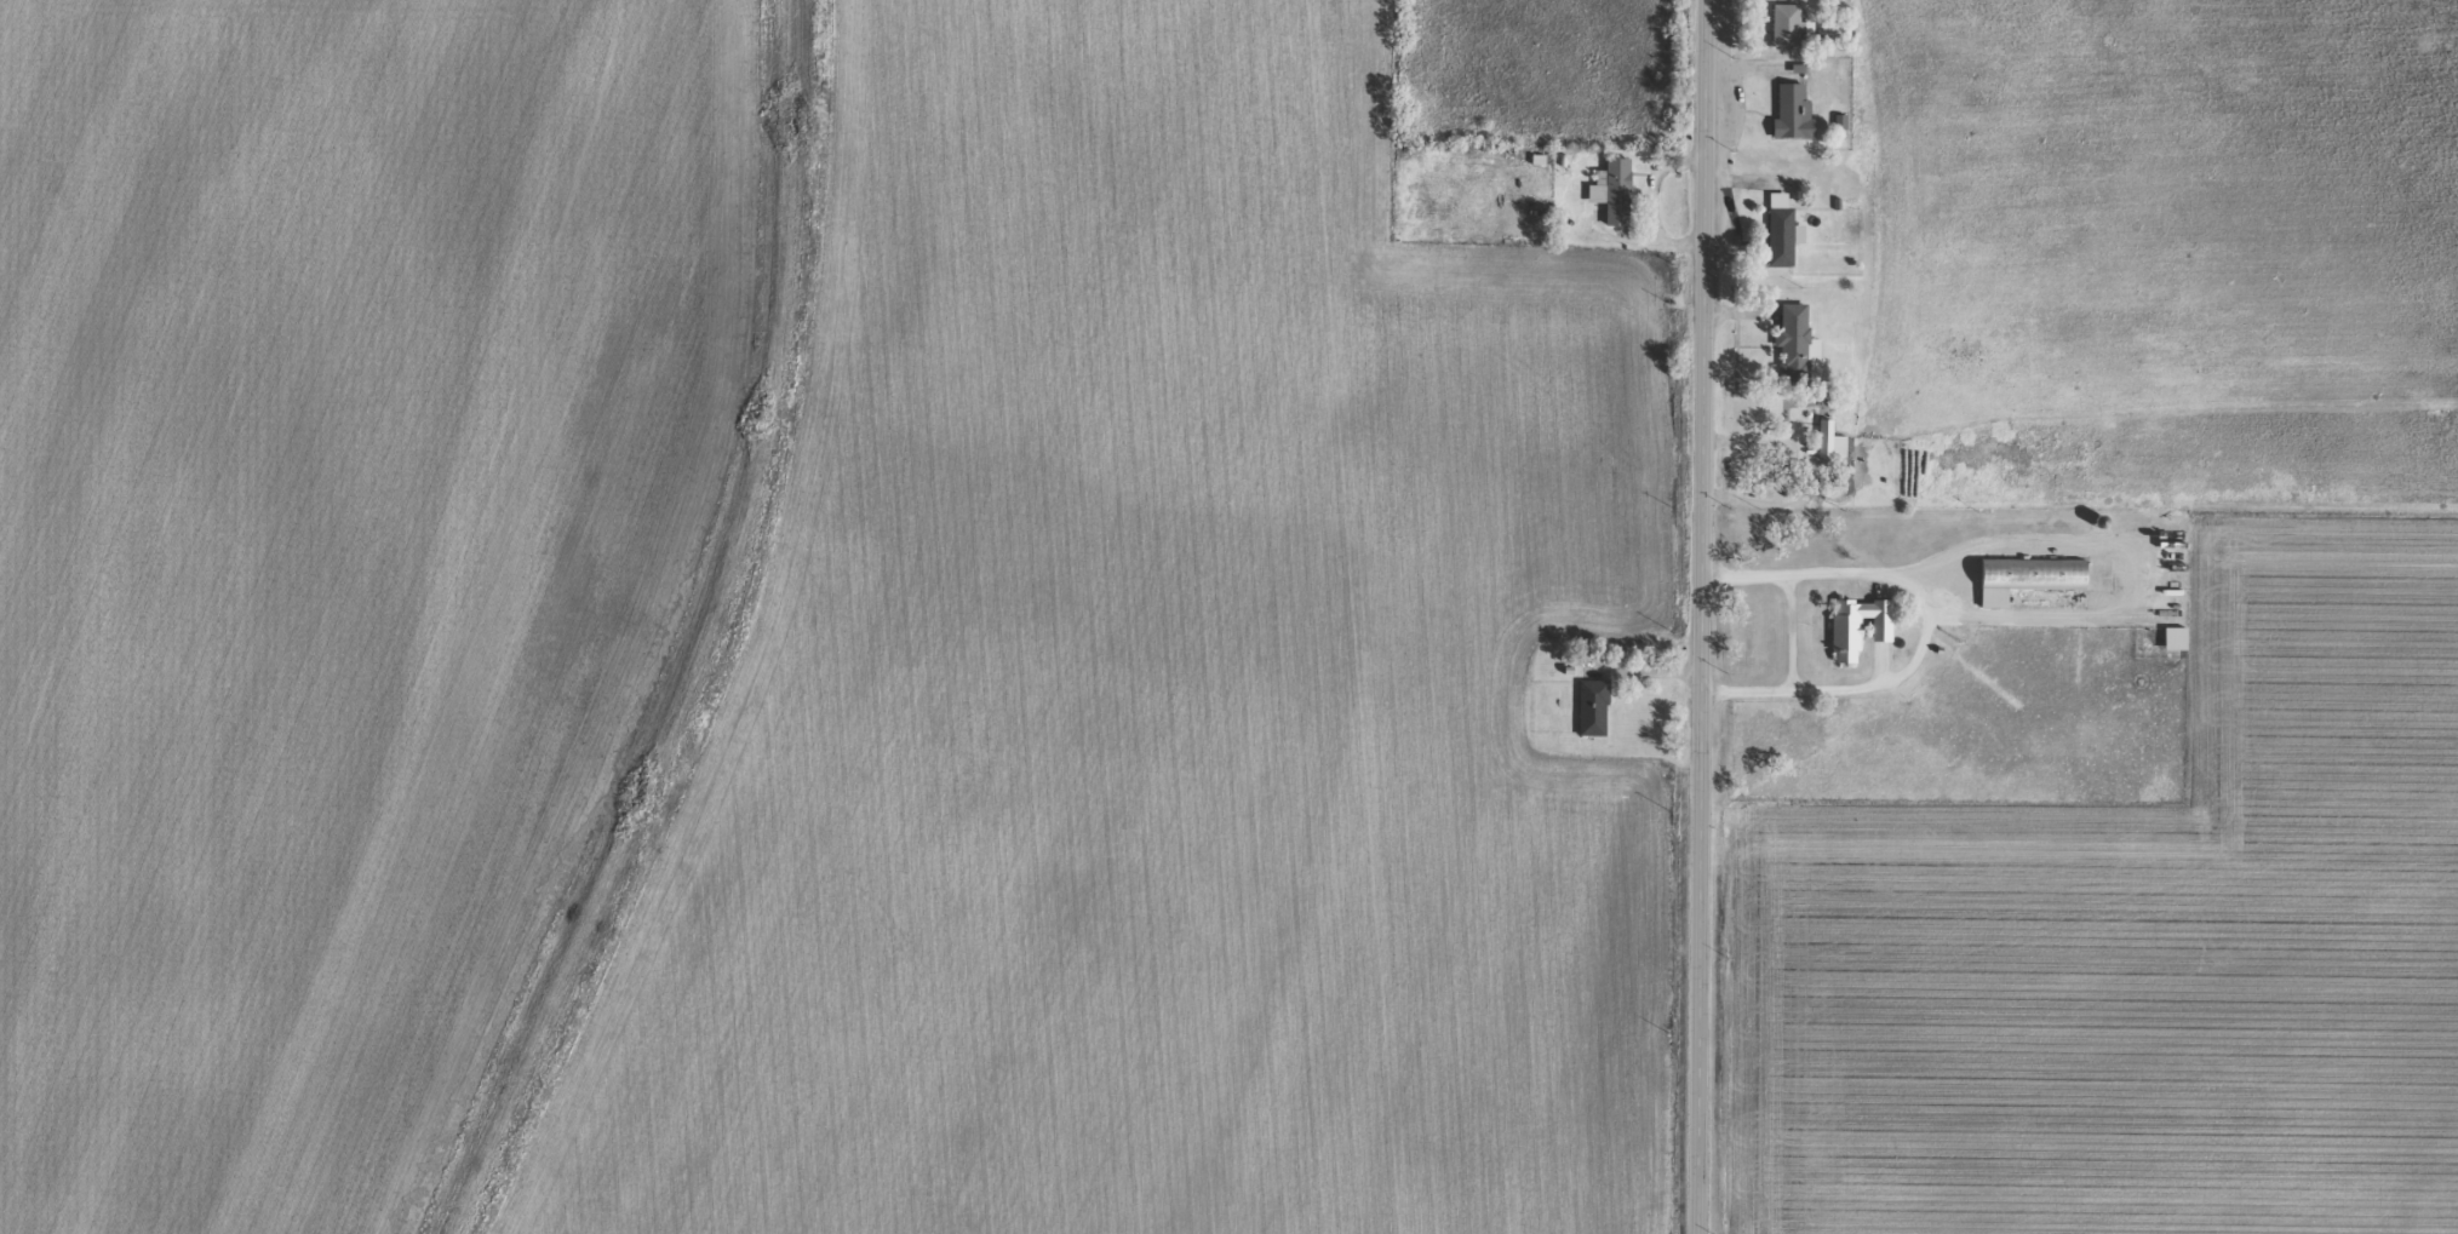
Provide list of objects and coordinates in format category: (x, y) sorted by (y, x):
building: (1790, 35)
building: (1794, 122)
building: (1841, 131)
building: (1615, 201)
building: (1782, 240)
building: (1801, 243)
building: (1798, 350)
building: (1830, 452)
road: (1703, 480)
building: (2030, 587)
road: (1930, 627)
railway: (693, 631)
building: (1861, 637)
building: (2178, 649)
building: (1594, 718)
road: (1700, 1097)

